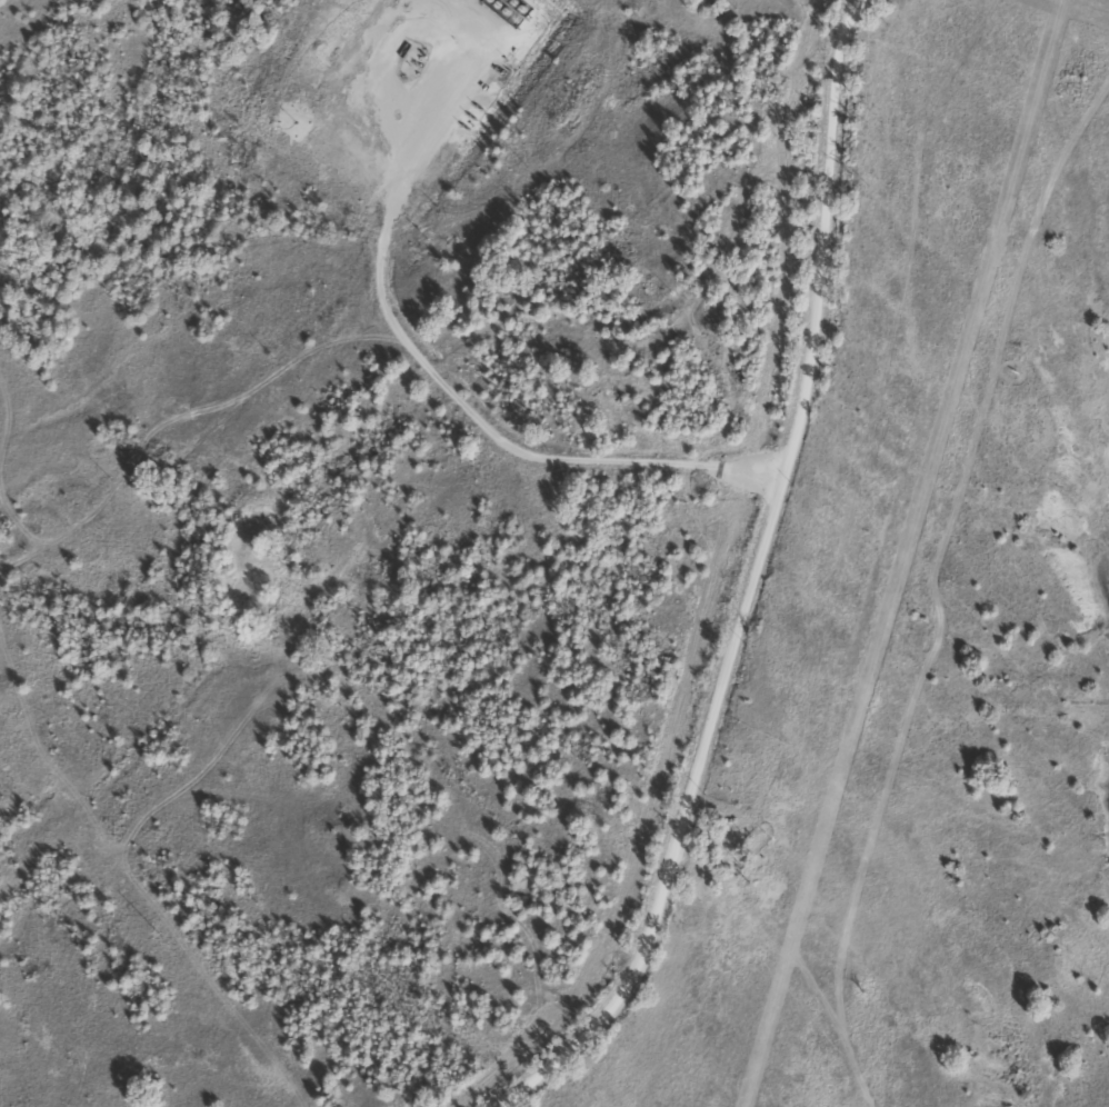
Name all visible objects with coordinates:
road: (474, 416)
road: (759, 576)

